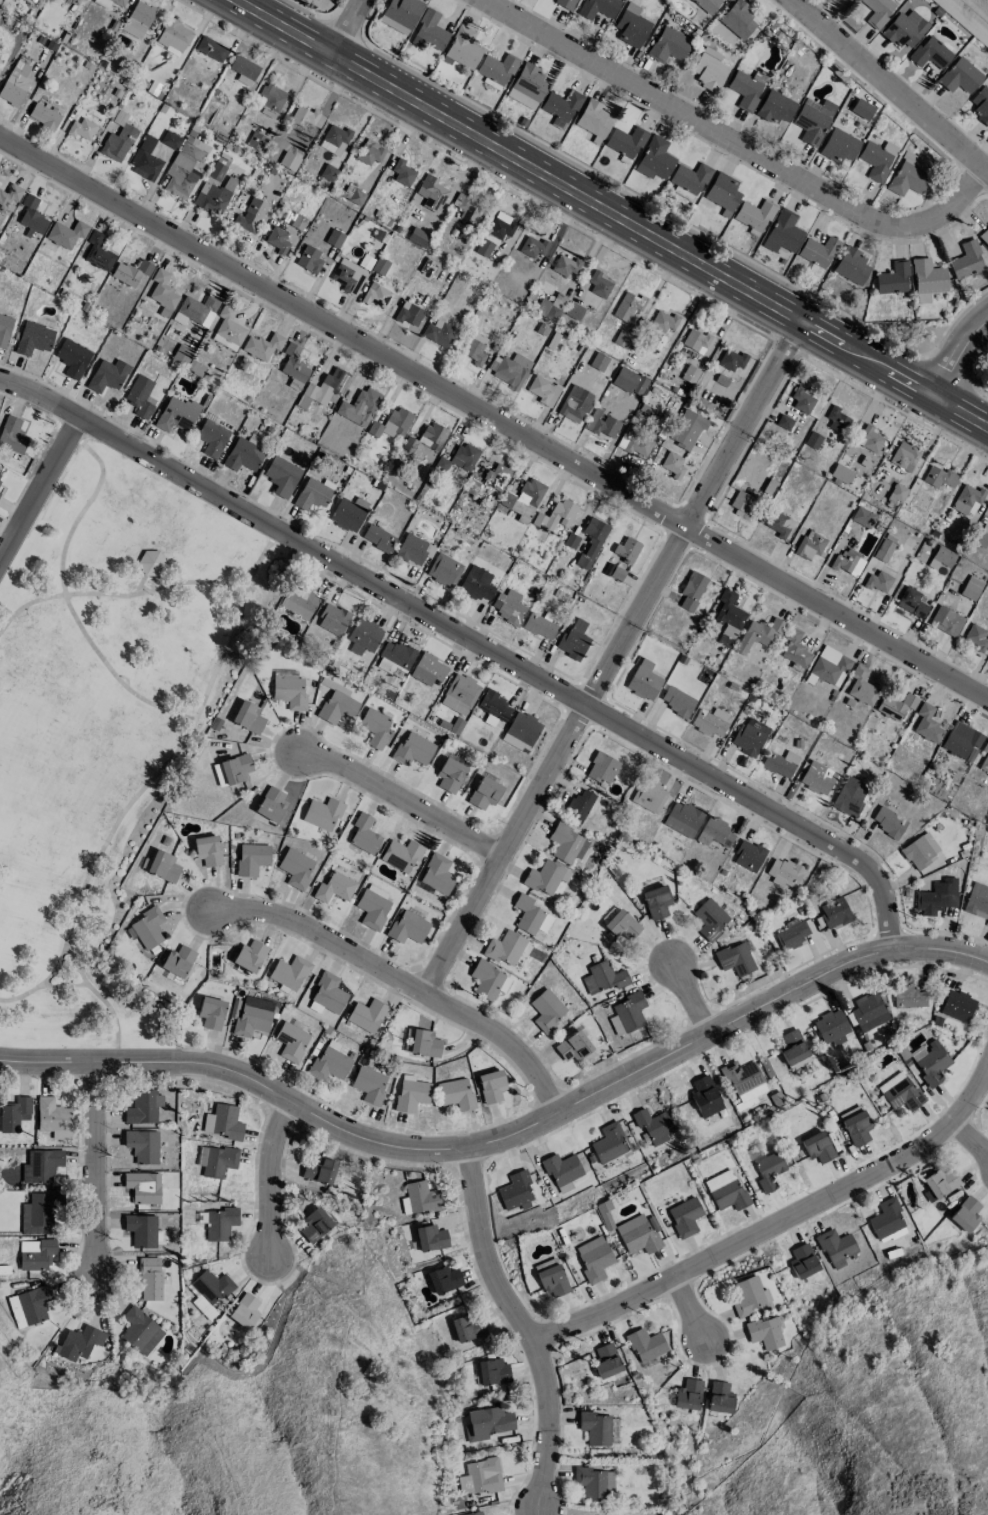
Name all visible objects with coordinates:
building: (41, 0)
building: (109, 2)
building: (565, 3)
building: (707, 5)
building: (598, 8)
building: (877, 11)
building: (401, 14)
building: (138, 19)
building: (737, 19)
building: (631, 26)
road: (358, 28)
building: (904, 29)
building: (429, 32)
building: (174, 37)
building: (668, 45)
building: (462, 48)
building: (211, 49)
building: (930, 53)
building: (497, 68)
building: (709, 69)
building: (243, 70)
building: (959, 76)
building: (527, 86)
road: (890, 86)
building: (13, 88)
building: (745, 90)
building: (273, 100)
building: (980, 105)
building: (560, 107)
building: (775, 107)
building: (861, 109)
building: (43, 116)
building: (307, 119)
building: (594, 120)
building: (812, 120)
building: (82, 129)
building: (335, 138)
building: (170, 140)
building: (256, 140)
building: (626, 141)
building: (838, 146)
building: (370, 152)
road: (726, 152)
building: (655, 159)
building: (145, 160)
building: (289, 161)
building: (875, 161)
building: (186, 166)
building: (403, 173)
building: (909, 174)
building: (690, 178)
building: (215, 189)
building: (722, 192)
building: (431, 193)
building: (9, 196)
road: (588, 200)
building: (467, 208)
building: (250, 215)
building: (754, 216)
building: (294, 219)
building: (66, 233)
building: (495, 233)
building: (782, 233)
building: (417, 237)
building: (984, 237)
building: (334, 238)
building: (276, 239)
building: (532, 247)
building: (818, 251)
building: (98, 252)
building: (309, 258)
building: (966, 261)
building: (851, 265)
building: (379, 266)
building: (565, 266)
building: (130, 272)
building: (349, 277)
building: (893, 278)
building: (927, 279)
building: (598, 284)
building: (163, 293)
building: (376, 295)
building: (627, 306)
building: (547, 309)
building: (194, 310)
building: (573, 311)
building: (409, 314)
building: (663, 321)
building: (4, 329)
building: (228, 329)
building: (439, 333)
building: (33, 338)
building: (622, 339)
building: (696, 341)
building: (262, 346)
building: (474, 352)
road: (959, 357)
building: (72, 358)
building: (731, 360)
building: (598, 361)
building: (294, 364)
building: (509, 369)
building: (690, 374)
building: (107, 375)
building: (629, 381)
building: (326, 386)
building: (543, 390)
building: (139, 396)
building: (802, 400)
building: (574, 404)
building: (359, 407)
building: (176, 414)
road: (963, 414)
building: (837, 420)
building: (392, 423)
road: (493, 424)
building: (605, 426)
building: (686, 430)
building: (12, 435)
building: (432, 436)
building: (211, 438)
building: (634, 443)
building: (409, 444)
building: (866, 453)
building: (243, 454)
building: (464, 456)
building: (904, 456)
building: (673, 465)
building: (841, 473)
building: (0, 475)
building: (281, 476)
building: (939, 476)
building: (497, 477)
building: (897, 492)
building: (312, 494)
road: (38, 495)
building: (967, 499)
building: (524, 500)
building: (741, 503)
building: (985, 512)
building: (347, 515)
building: (555, 516)
building: (862, 517)
building: (779, 525)
building: (378, 538)
building: (980, 538)
building: (571, 540)
building: (591, 542)
building: (809, 546)
building: (885, 547)
building: (411, 549)
building: (625, 549)
building: (941, 558)
building: (848, 562)
building: (151, 563)
building: (444, 570)
building: (486, 574)
building: (878, 581)
building: (971, 588)
building: (691, 590)
road: (61, 594)
road: (113, 595)
building: (298, 602)
building: (911, 602)
building: (508, 606)
building: (728, 617)
building: (332, 619)
building: (946, 621)
building: (539, 625)
building: (758, 634)
building: (363, 636)
building: (976, 637)
building: (573, 640)
road: (472, 644)
building: (795, 651)
building: (396, 654)
road: (614, 661)
building: (830, 666)
building: (428, 669)
building: (643, 680)
building: (863, 690)
building: (289, 692)
building: (459, 694)
building: (677, 701)
building: (895, 705)
building: (337, 707)
building: (494, 707)
building: (248, 717)
park: (108, 722)
building: (710, 722)
building: (927, 723)
building: (374, 727)
building: (523, 728)
building: (749, 736)
building: (961, 739)
building: (413, 749)
building: (984, 758)
building: (780, 763)
building: (235, 768)
building: (602, 768)
building: (450, 775)
building: (817, 777)
building: (484, 793)
building: (649, 796)
road: (138, 797)
road: (401, 799)
building: (848, 799)
building: (271, 804)
building: (578, 806)
building: (322, 813)
building: (682, 818)
building: (889, 822)
building: (714, 832)
building: (364, 834)
building: (566, 844)
building: (207, 850)
building: (920, 850)
building: (400, 855)
building: (748, 856)
building: (251, 859)
building: (163, 866)
building: (296, 868)
building: (784, 872)
building: (437, 874)
building: (546, 877)
building: (334, 887)
building: (937, 896)
building: (977, 899)
building: (656, 901)
building: (372, 909)
building: (834, 912)
building: (527, 914)
building: (709, 918)
building: (545, 923)
building: (622, 926)
building: (408, 927)
building: (148, 928)
building: (792, 934)
building: (505, 948)
building: (249, 955)
building: (734, 959)
building: (177, 961)
building: (289, 972)
building: (603, 977)
building: (488, 980)
road: (45, 985)
road: (407, 987)
building: (328, 992)
building: (908, 997)
road: (692, 1000)
building: (957, 1006)
building: (546, 1010)
building: (868, 1011)
building: (211, 1012)
building: (626, 1013)
building: (367, 1015)
building: (252, 1016)
building: (831, 1027)
building: (291, 1041)
building: (424, 1043)
building: (572, 1046)
building: (793, 1049)
building: (930, 1061)
building: (329, 1063)
building: (741, 1076)
building: (369, 1084)
building: (491, 1086)
building: (900, 1092)
building: (455, 1093)
building: (411, 1095)
building: (705, 1096)
building: (143, 1107)
building: (14, 1114)
building: (53, 1118)
building: (222, 1122)
building: (652, 1125)
building: (855, 1125)
road: (972, 1139)
road: (507, 1141)
building: (609, 1143)
building: (142, 1146)
building: (817, 1146)
building: (216, 1160)
building: (41, 1165)
building: (561, 1168)
building: (318, 1169)
road: (97, 1170)
building: (768, 1170)
road: (273, 1180)
building: (939, 1182)
building: (143, 1187)
building: (725, 1190)
building: (422, 1197)
building: (38, 1214)
building: (966, 1214)
building: (684, 1216)
building: (886, 1219)
building: (220, 1223)
building: (314, 1225)
road: (774, 1228)
building: (141, 1230)
building: (637, 1235)
building: (430, 1238)
building: (835, 1247)
building: (36, 1253)
building: (593, 1259)
building: (803, 1261)
building: (150, 1279)
building: (444, 1279)
building: (552, 1280)
building: (211, 1286)
building: (749, 1295)
building: (29, 1306)
road: (691, 1310)
building: (245, 1311)
building: (468, 1327)
road: (529, 1330)
building: (140, 1331)
building: (764, 1333)
building: (79, 1342)
building: (647, 1344)
building: (606, 1360)
building: (491, 1371)
building: (688, 1394)
building: (720, 1397)
building: (487, 1423)
building: (594, 1427)
building: (480, 1476)
building: (593, 1482)
building: (473, 1513)

